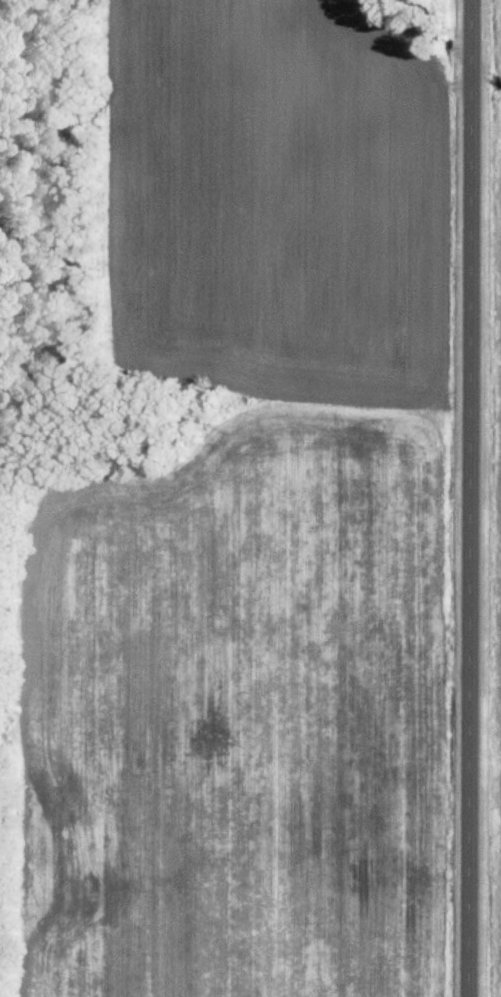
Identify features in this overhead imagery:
road: (474, 498)

